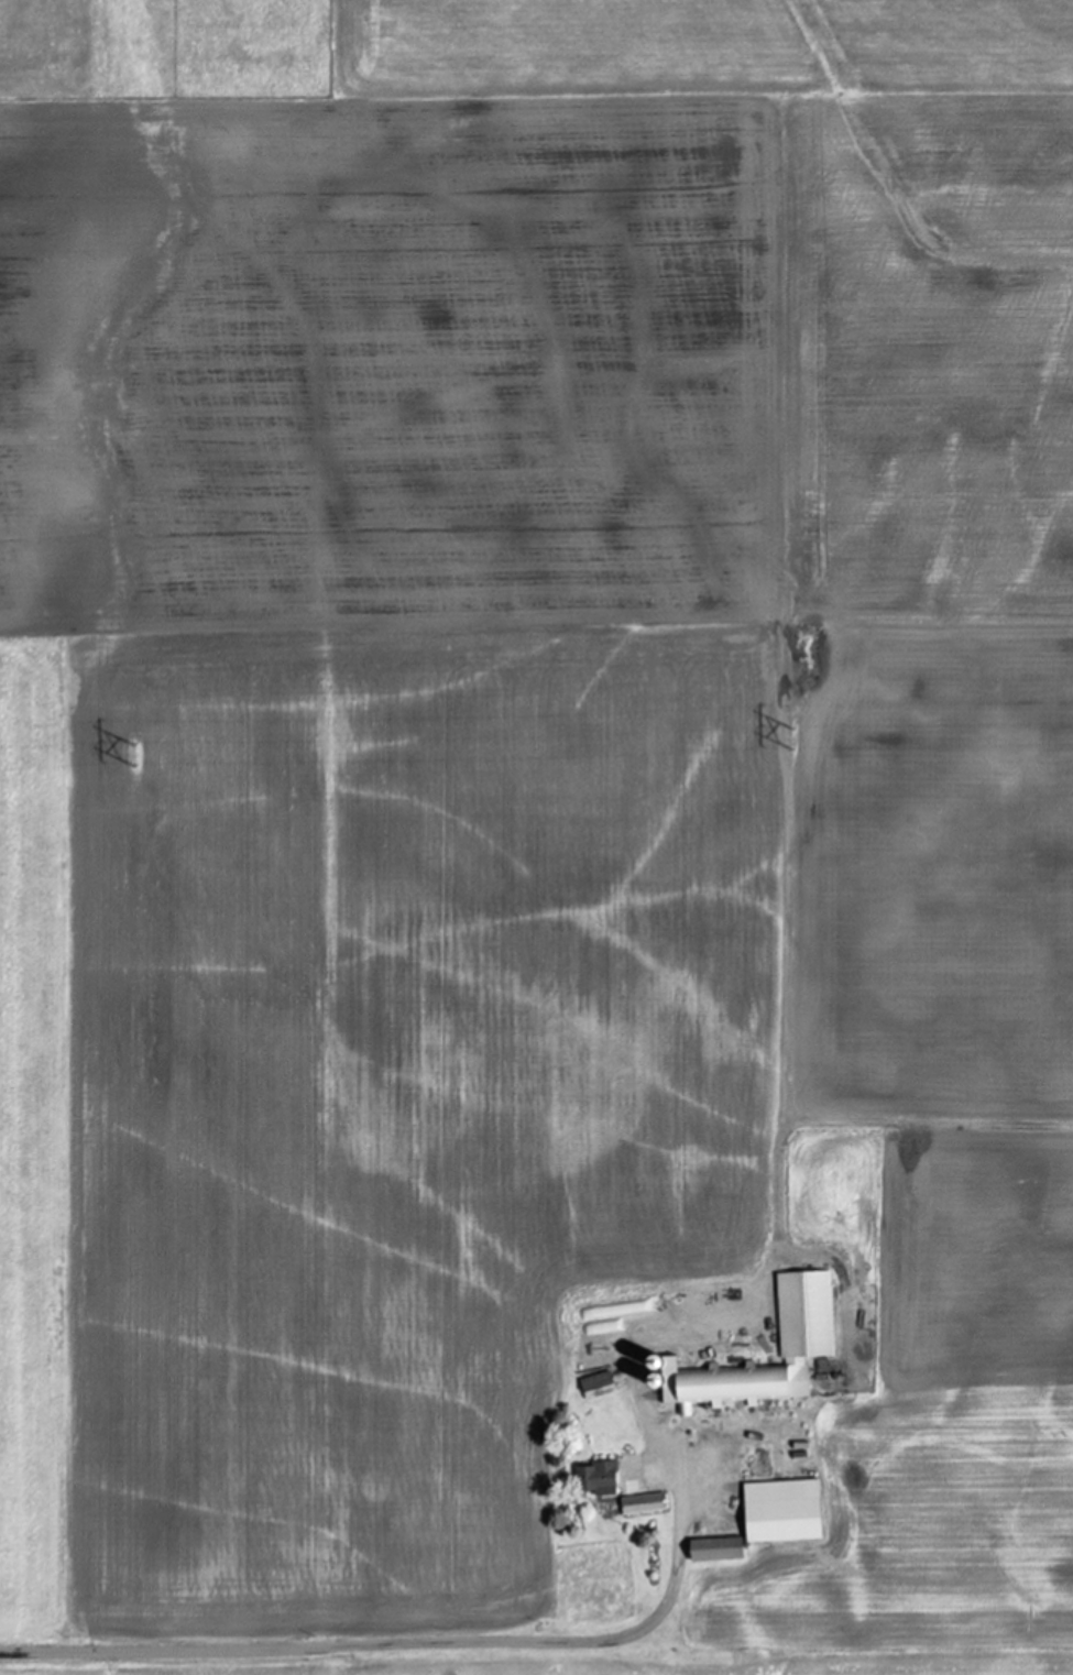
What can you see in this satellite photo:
power tower: (792, 738)
power tower: (142, 754)
building: (804, 1315)
building: (596, 1386)
building: (596, 1479)
building: (643, 1504)
building: (780, 1511)
building: (715, 1550)
road: (406, 1644)

